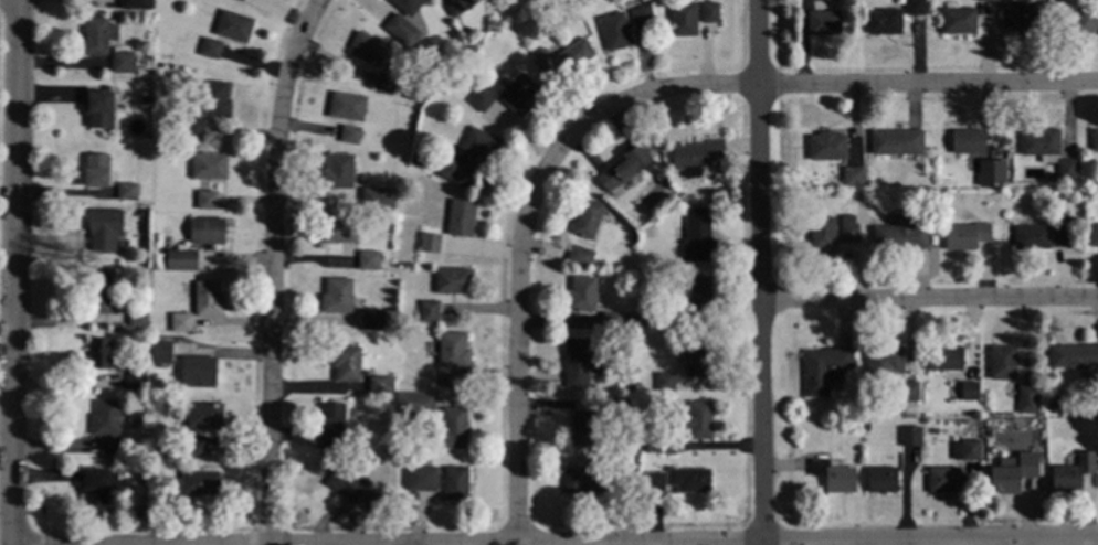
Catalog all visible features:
building: (237, 0)
building: (561, 0)
building: (822, 0)
building: (131, 3)
building: (408, 6)
building: (456, 6)
building: (915, 7)
building: (710, 11)
building: (1021, 14)
building: (642, 15)
building: (683, 18)
building: (1086, 18)
building: (884, 20)
building: (958, 20)
building: (823, 22)
park: (0, 23)
building: (234, 25)
building: (401, 30)
building: (615, 30)
building: (98, 34)
building: (211, 47)
building: (368, 47)
building: (574, 54)
building: (542, 60)
building: (123, 61)
building: (387, 82)
road: (811, 85)
building: (515, 92)
building: (413, 96)
building: (214, 98)
building: (481, 98)
building: (146, 99)
building: (347, 105)
building: (99, 108)
building: (193, 128)
building: (350, 133)
building: (1095, 139)
building: (896, 141)
building: (970, 142)
building: (1041, 143)
building: (827, 146)
building: (696, 154)
building: (469, 157)
building: (416, 159)
building: (209, 164)
building: (625, 167)
building: (1066, 168)
building: (96, 170)
building: (339, 170)
building: (991, 172)
building: (853, 174)
building: (127, 190)
building: (853, 193)
building: (367, 197)
building: (205, 200)
building: (382, 203)
building: (157, 214)
building: (462, 216)
building: (588, 217)
building: (104, 227)
building: (339, 228)
building: (848, 228)
building: (208, 229)
building: (902, 232)
building: (822, 233)
building: (1094, 234)
building: (698, 235)
building: (965, 235)
building: (1059, 235)
building: (1031, 236)
building: (431, 239)
building: (581, 255)
building: (198, 257)
building: (368, 259)
building: (180, 260)
road: (267, 267)
road: (15, 272)
road: (758, 272)
building: (454, 279)
building: (99, 291)
building: (582, 293)
building: (694, 293)
building: (337, 295)
road: (928, 296)
building: (208, 298)
building: (429, 310)
building: (137, 317)
building: (374, 318)
building: (629, 319)
building: (663, 319)
building: (610, 320)
building: (181, 321)
building: (453, 349)
road: (517, 350)
building: (162, 351)
building: (99, 353)
building: (1073, 355)
building: (944, 357)
building: (697, 359)
building: (580, 361)
building: (1002, 361)
building: (348, 362)
building: (884, 366)
building: (824, 367)
building: (198, 371)
building: (135, 380)
building: (450, 380)
building: (664, 380)
building: (381, 383)
building: (630, 384)
building: (908, 389)
building: (964, 391)
building: (1027, 397)
building: (139, 399)
building: (1056, 402)
building: (424, 404)
building: (612, 406)
building: (833, 413)
building: (203, 415)
building: (106, 417)
building: (697, 419)
building: (864, 424)
building: (330, 425)
building: (451, 428)
building: (583, 428)
building: (910, 436)
building: (665, 441)
building: (200, 445)
building: (109, 446)
building: (645, 447)
building: (970, 448)
building: (384, 449)
building: (1012, 472)
building: (1071, 472)
building: (431, 475)
building: (834, 475)
building: (585, 479)
building: (689, 479)
building: (881, 479)
building: (943, 479)
building: (626, 480)
building: (654, 480)
building: (200, 482)
building: (455, 482)
building: (97, 484)
building: (351, 485)
building: (169, 488)
road: (38, 539)
road: (1002, 541)
road: (624, 542)

